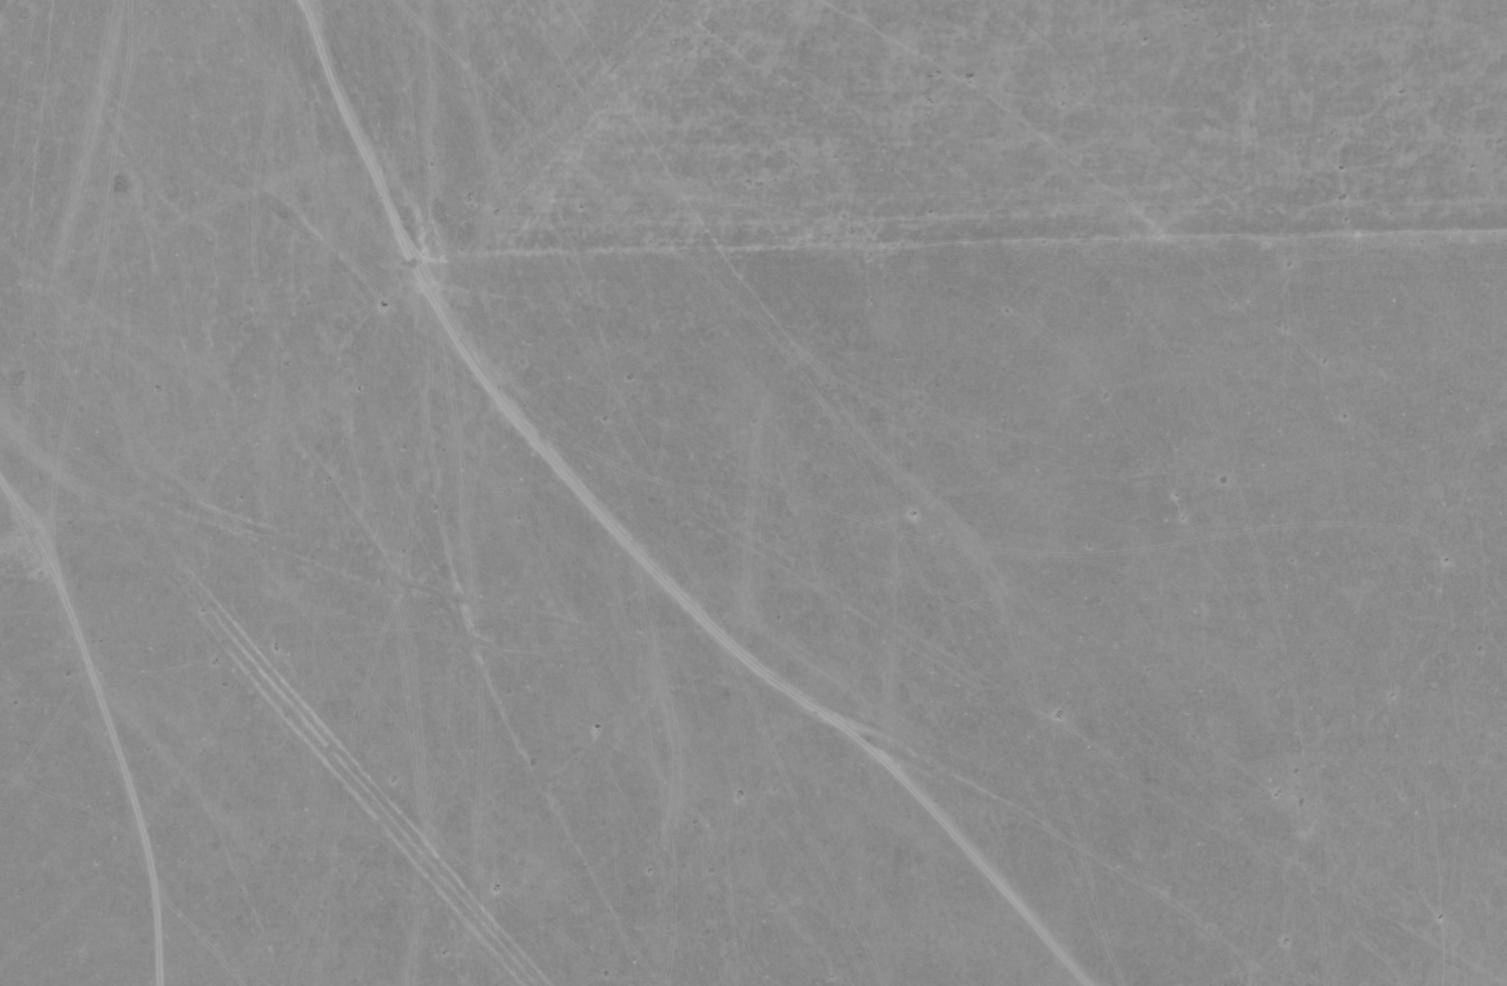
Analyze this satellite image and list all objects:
road: (646, 569)

